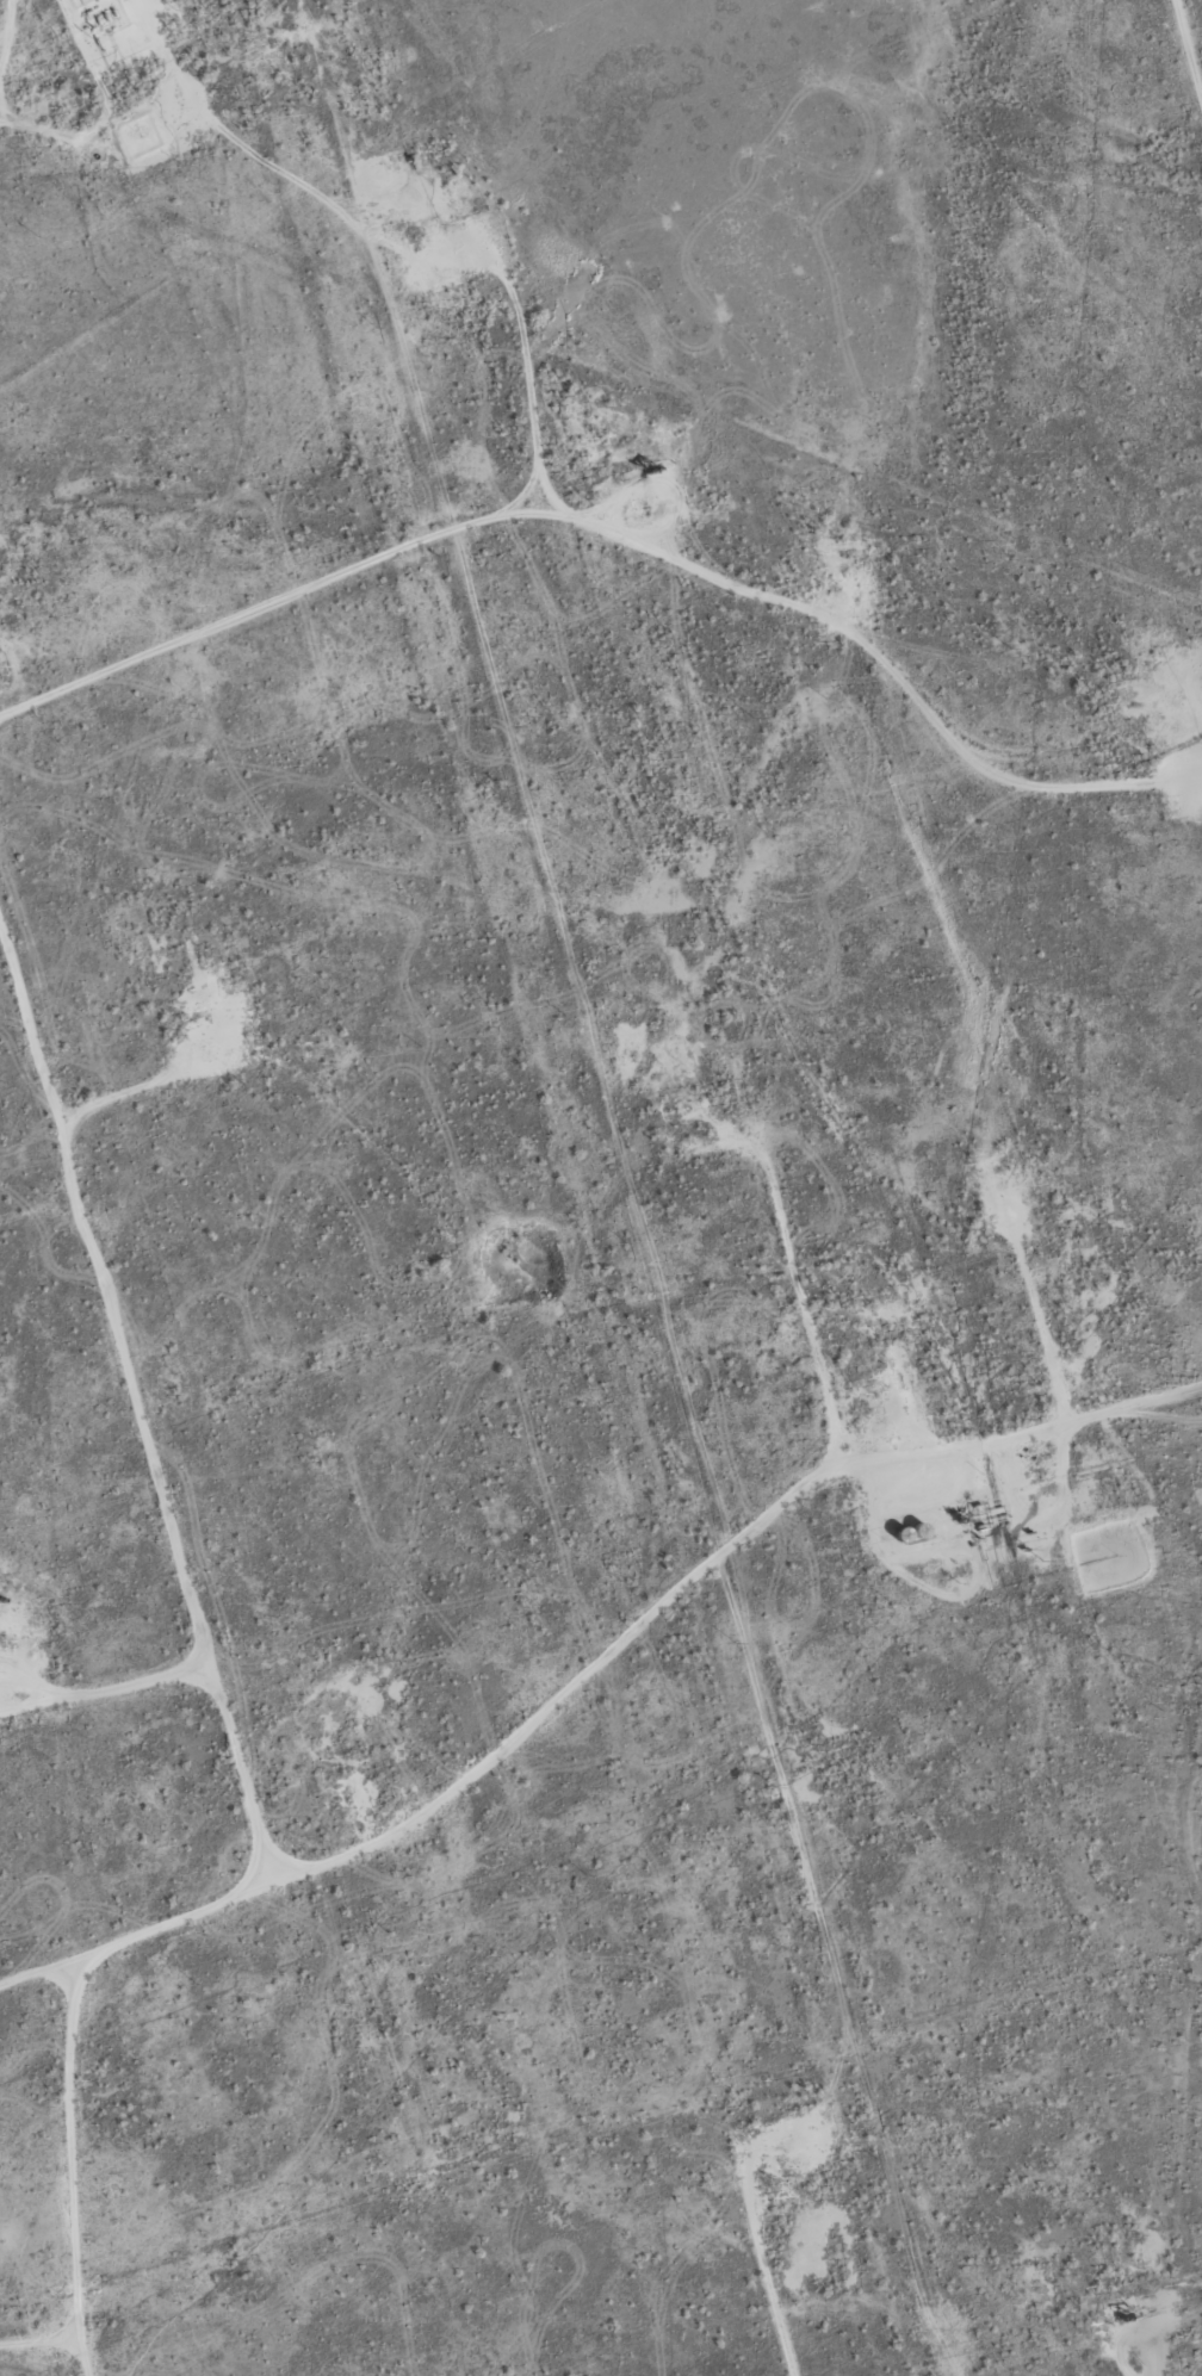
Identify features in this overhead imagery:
road: (1189, 2372)

